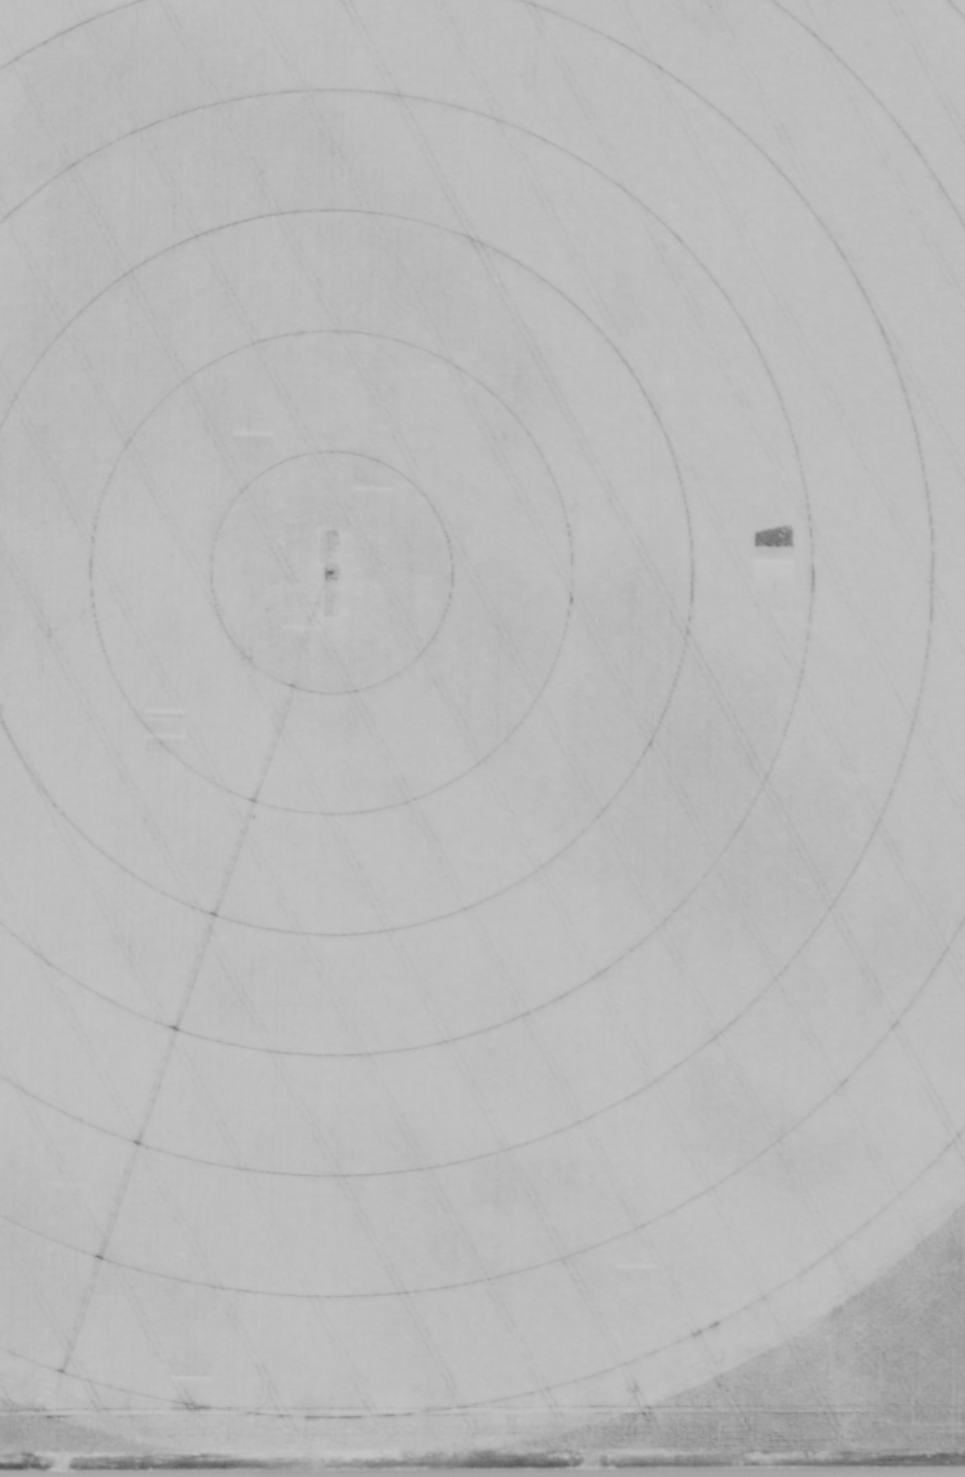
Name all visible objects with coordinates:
road: (666, 1475)

